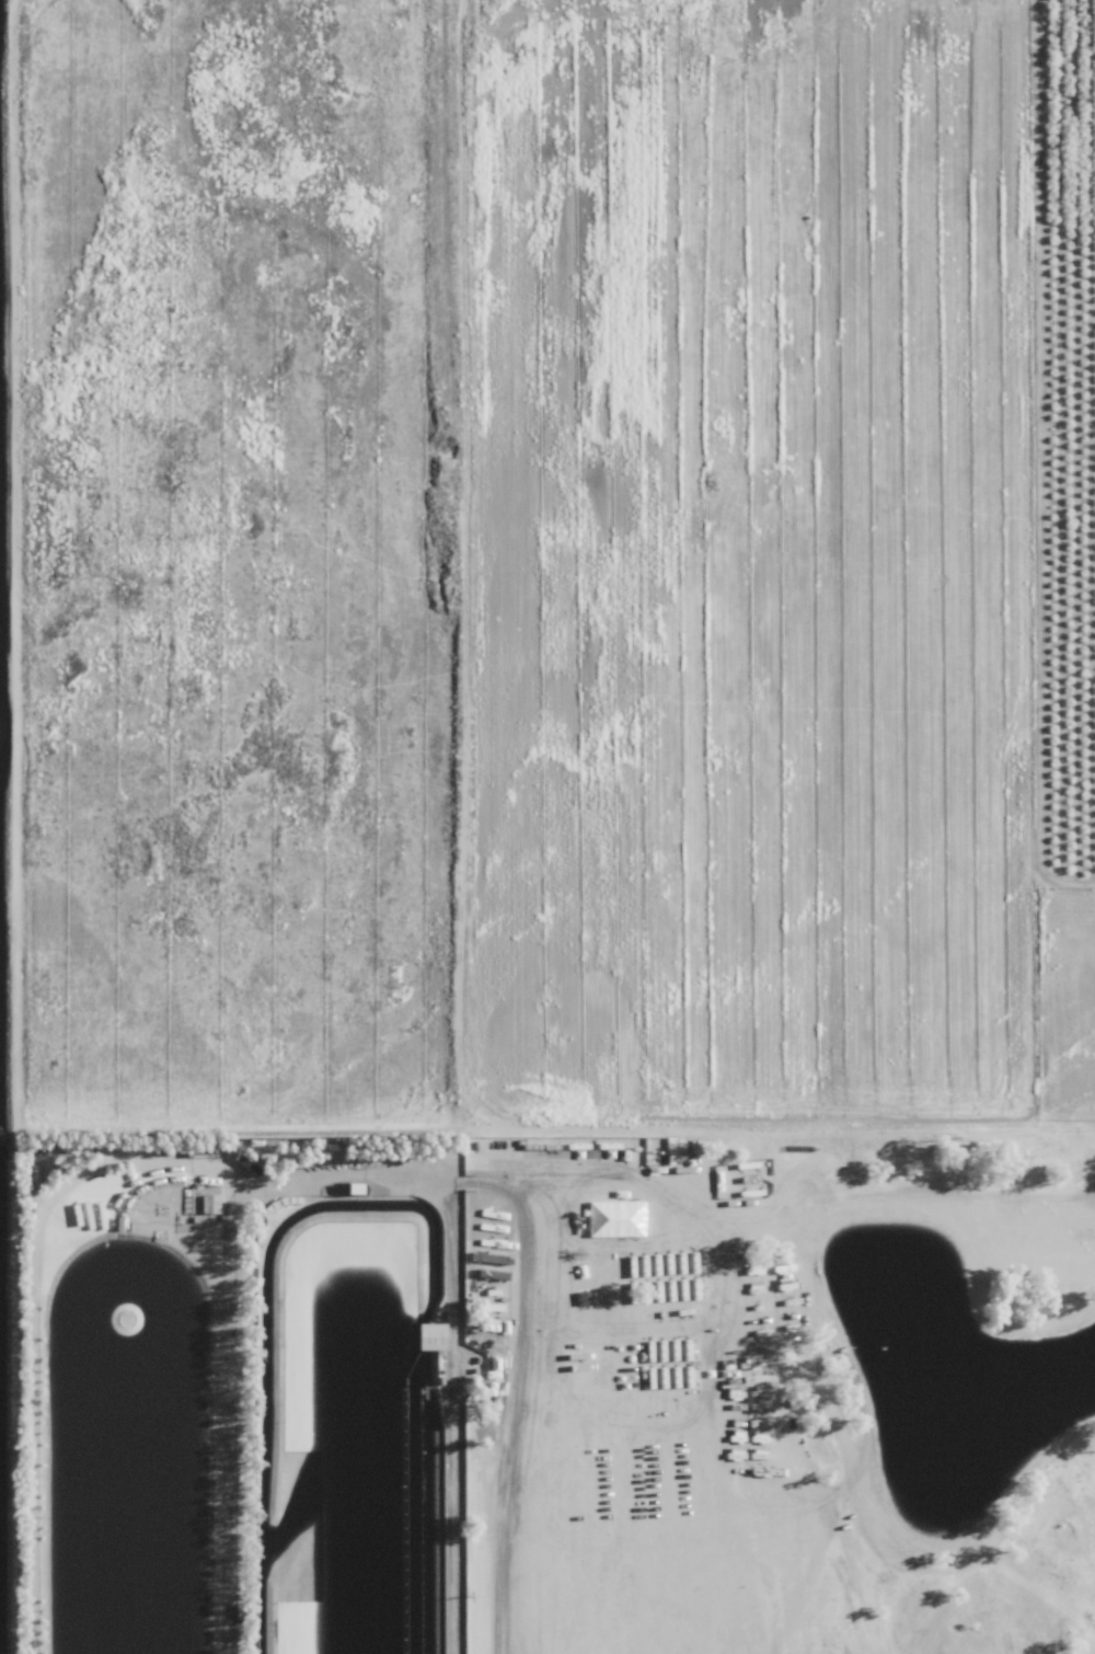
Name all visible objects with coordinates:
road: (862, 1133)

